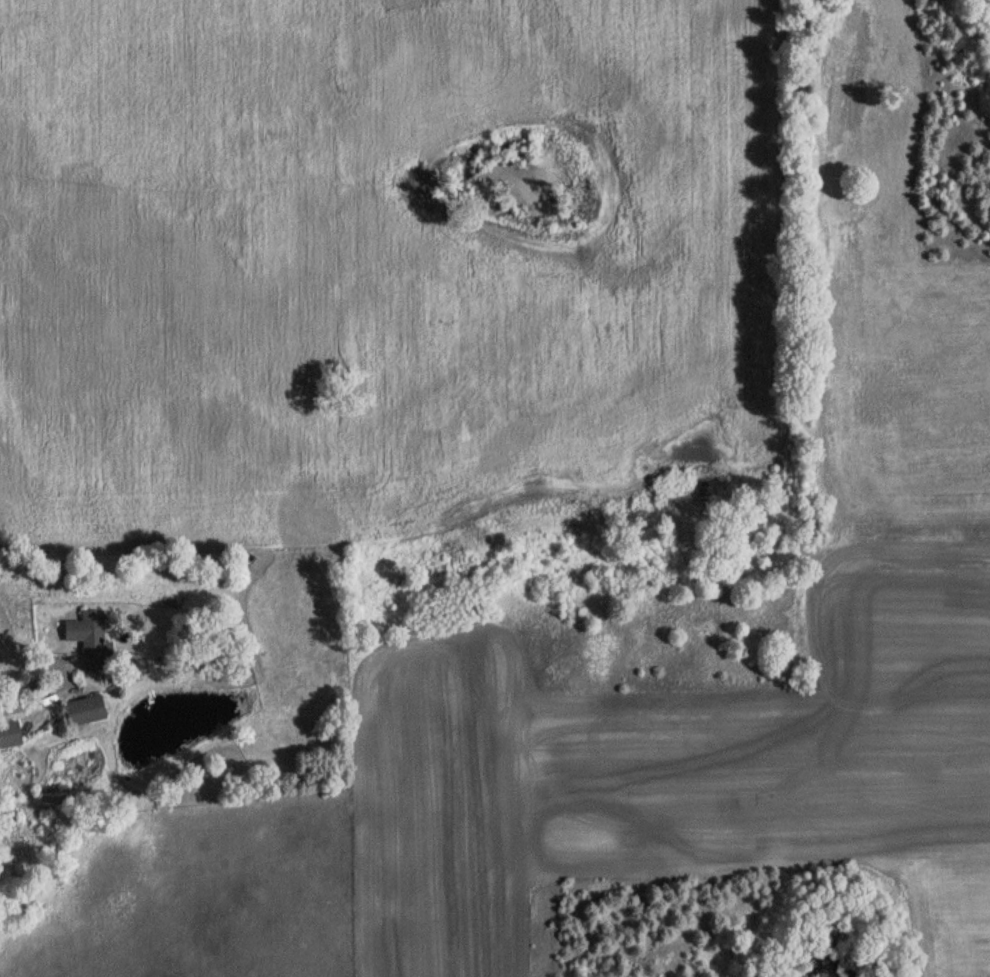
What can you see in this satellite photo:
building: (91, 639)
road: (59, 673)
road: (4, 706)
building: (86, 711)
building: (10, 733)

